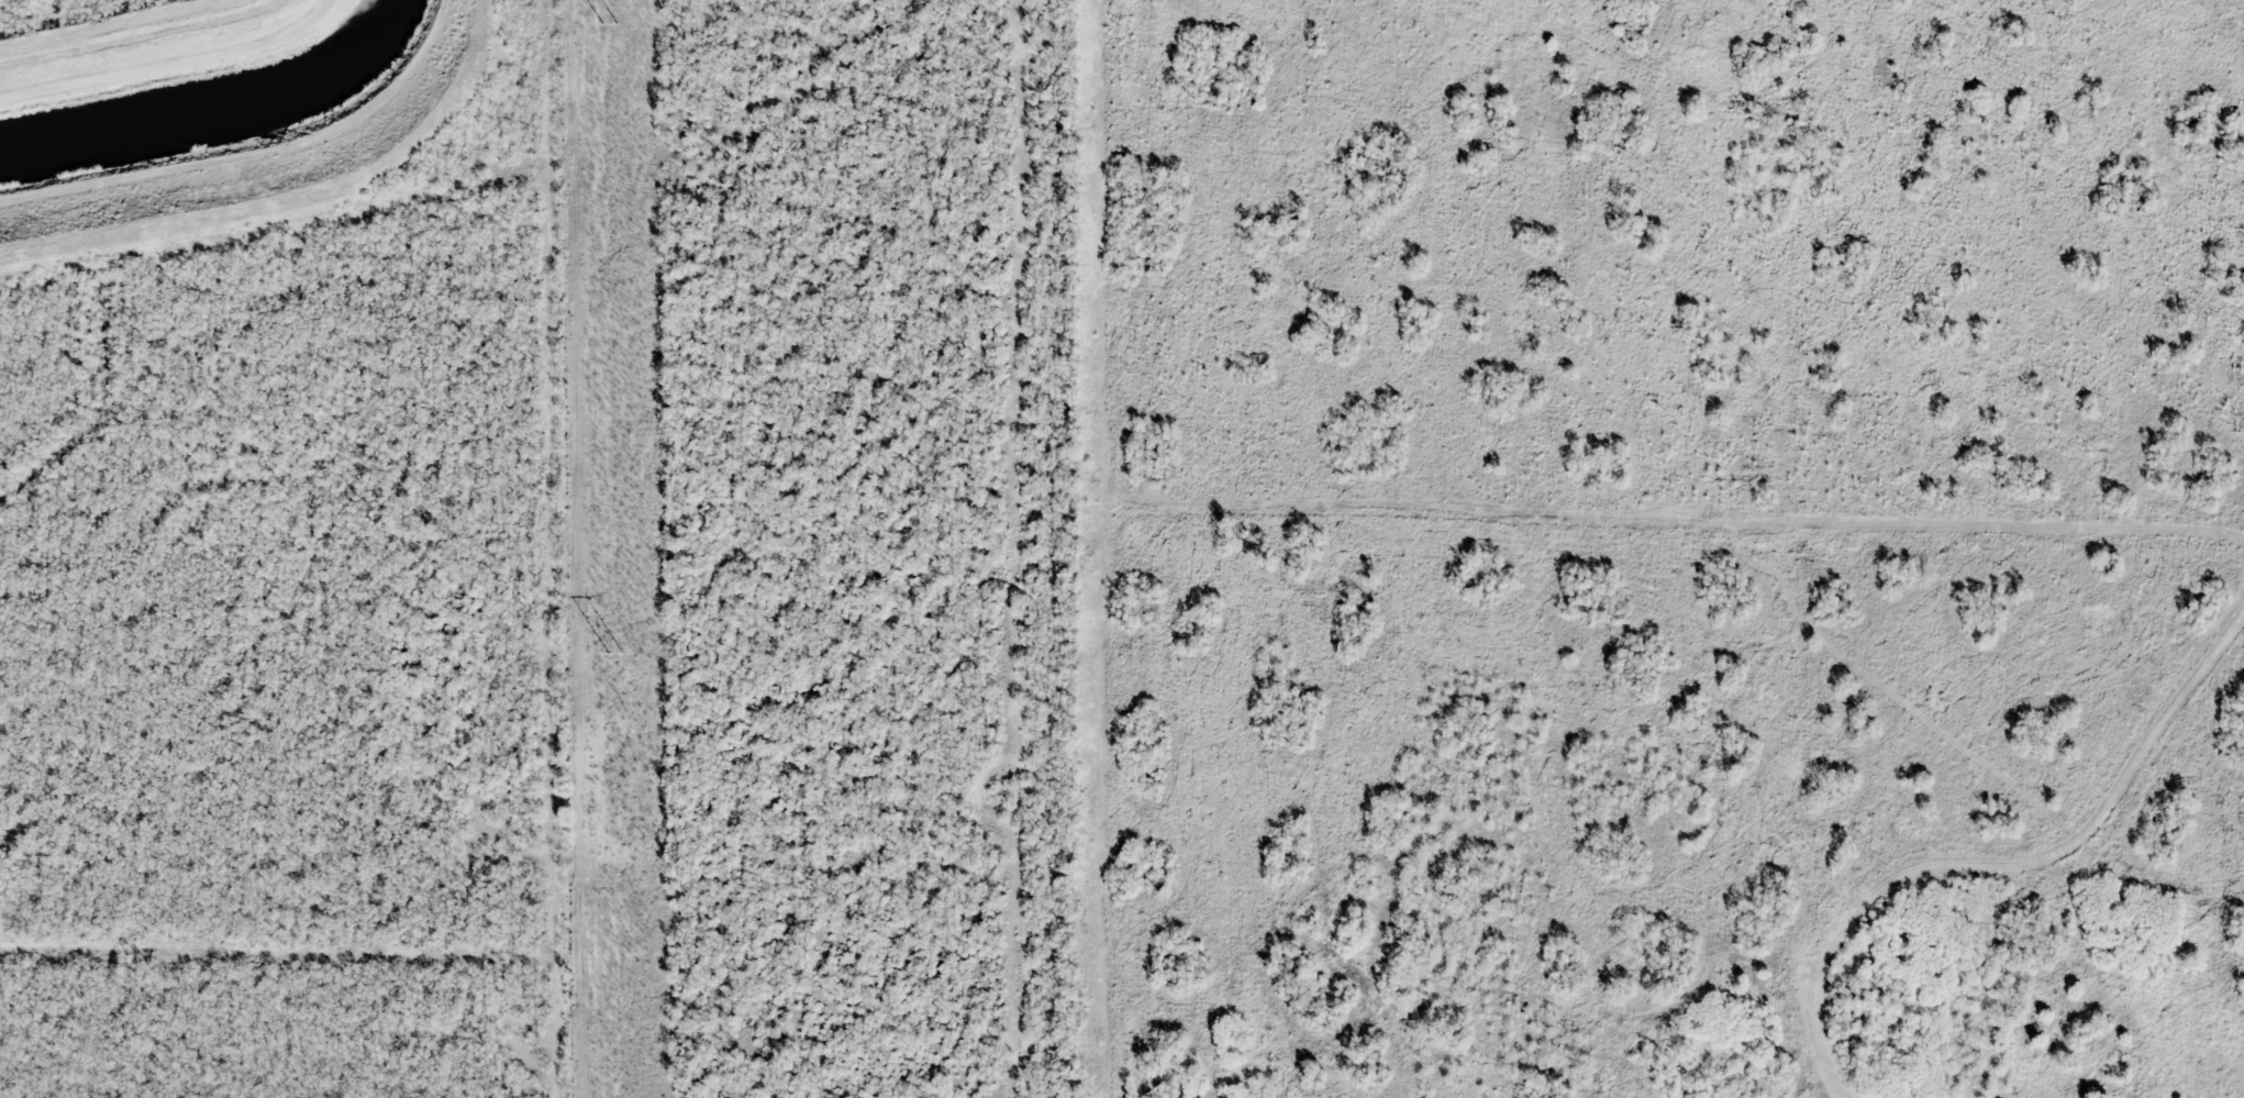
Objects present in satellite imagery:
power tower: (611, 25)
power tower: (615, 656)

